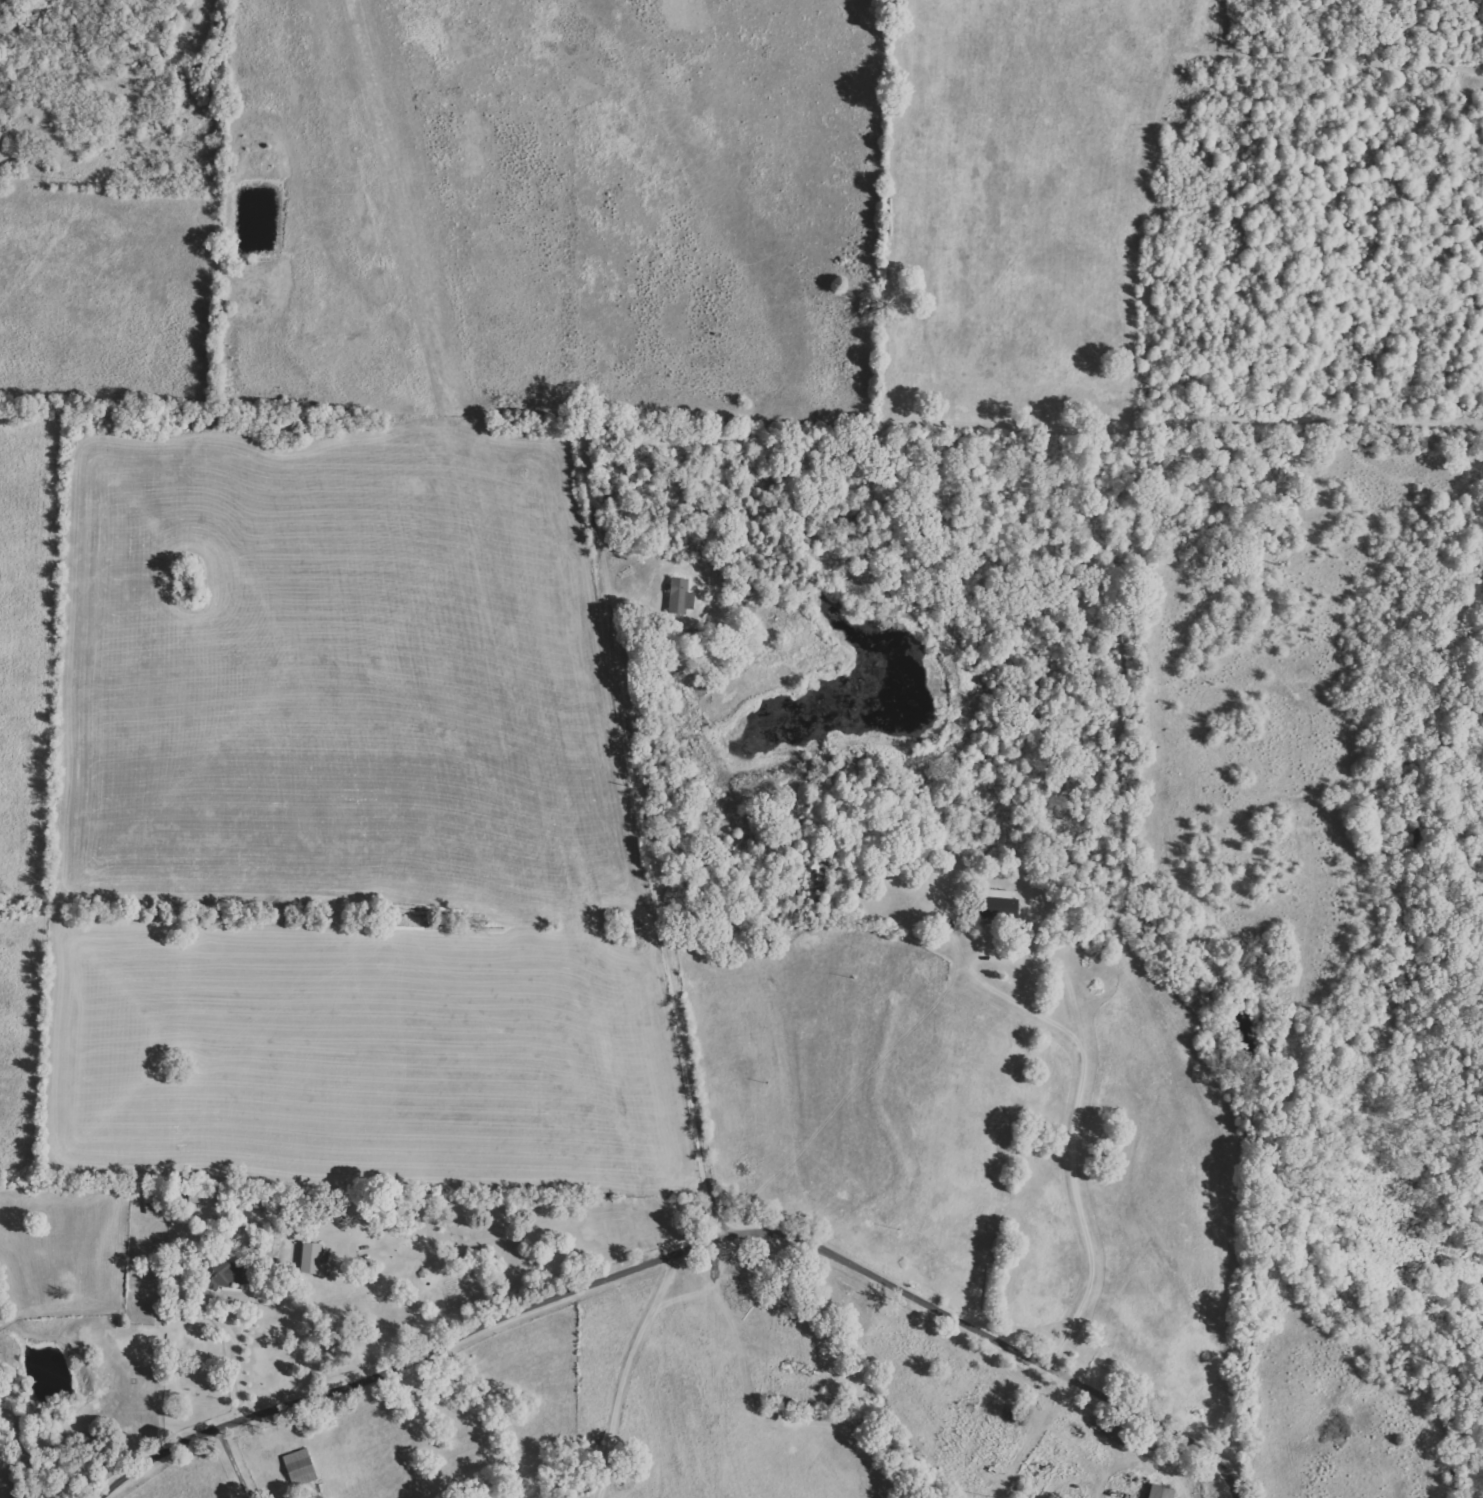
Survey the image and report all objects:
building: (676, 595)
building: (994, 904)
road: (681, 934)
road: (1088, 1120)
road: (685, 1246)
building: (312, 1258)
building: (229, 1272)
road: (625, 1370)
road: (233, 1463)
building: (298, 1465)
building: (1154, 1492)

